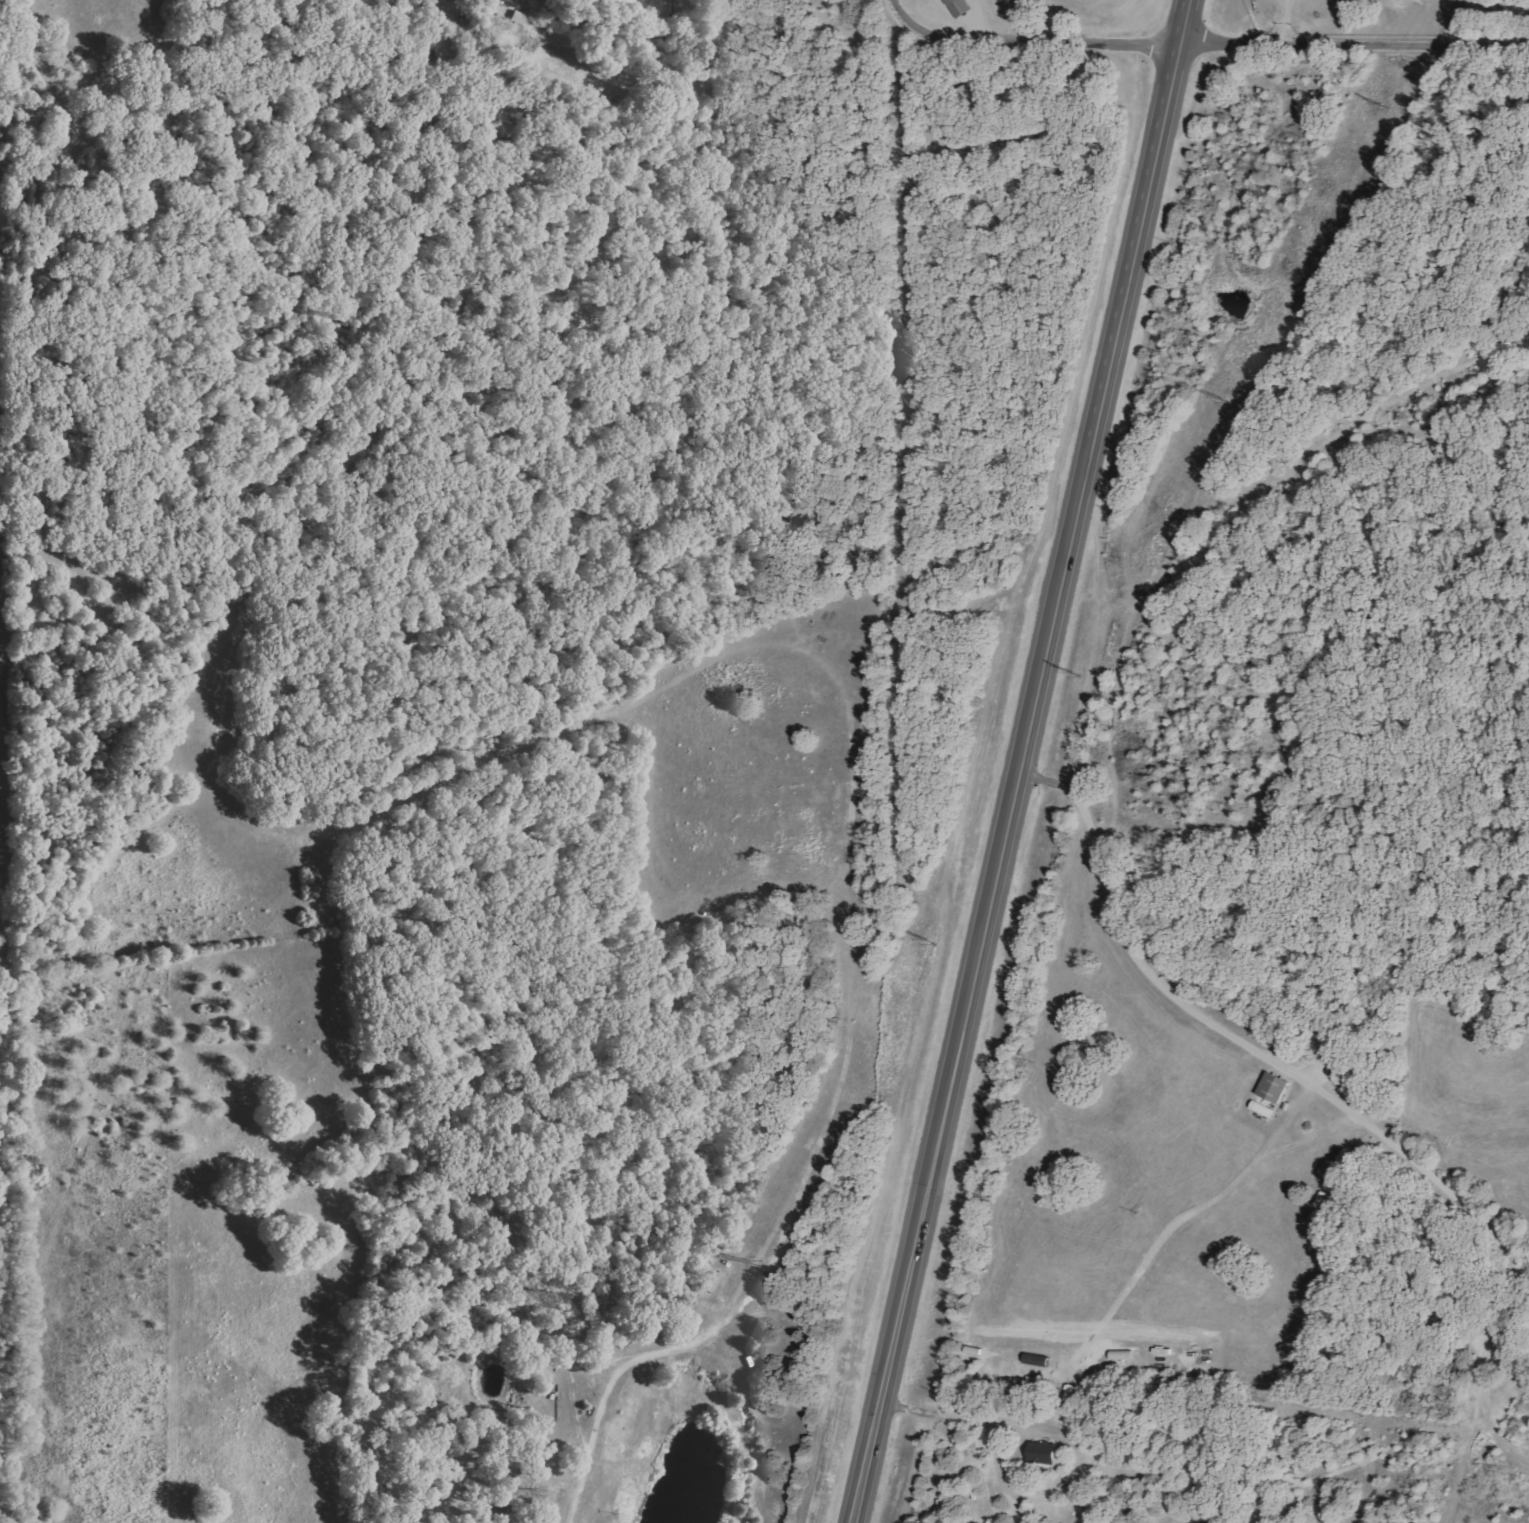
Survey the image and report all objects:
building: (509, 1)
building: (959, 7)
road: (1024, 42)
road: (1351, 44)
building: (973, 97)
power tower: (1383, 106)
power tower: (1225, 399)
power tower: (1075, 674)
road: (1021, 761)
power tower: (929, 942)
road: (1243, 1043)
building: (1274, 1088)
building: (1263, 1109)
power tower: (753, 1260)

